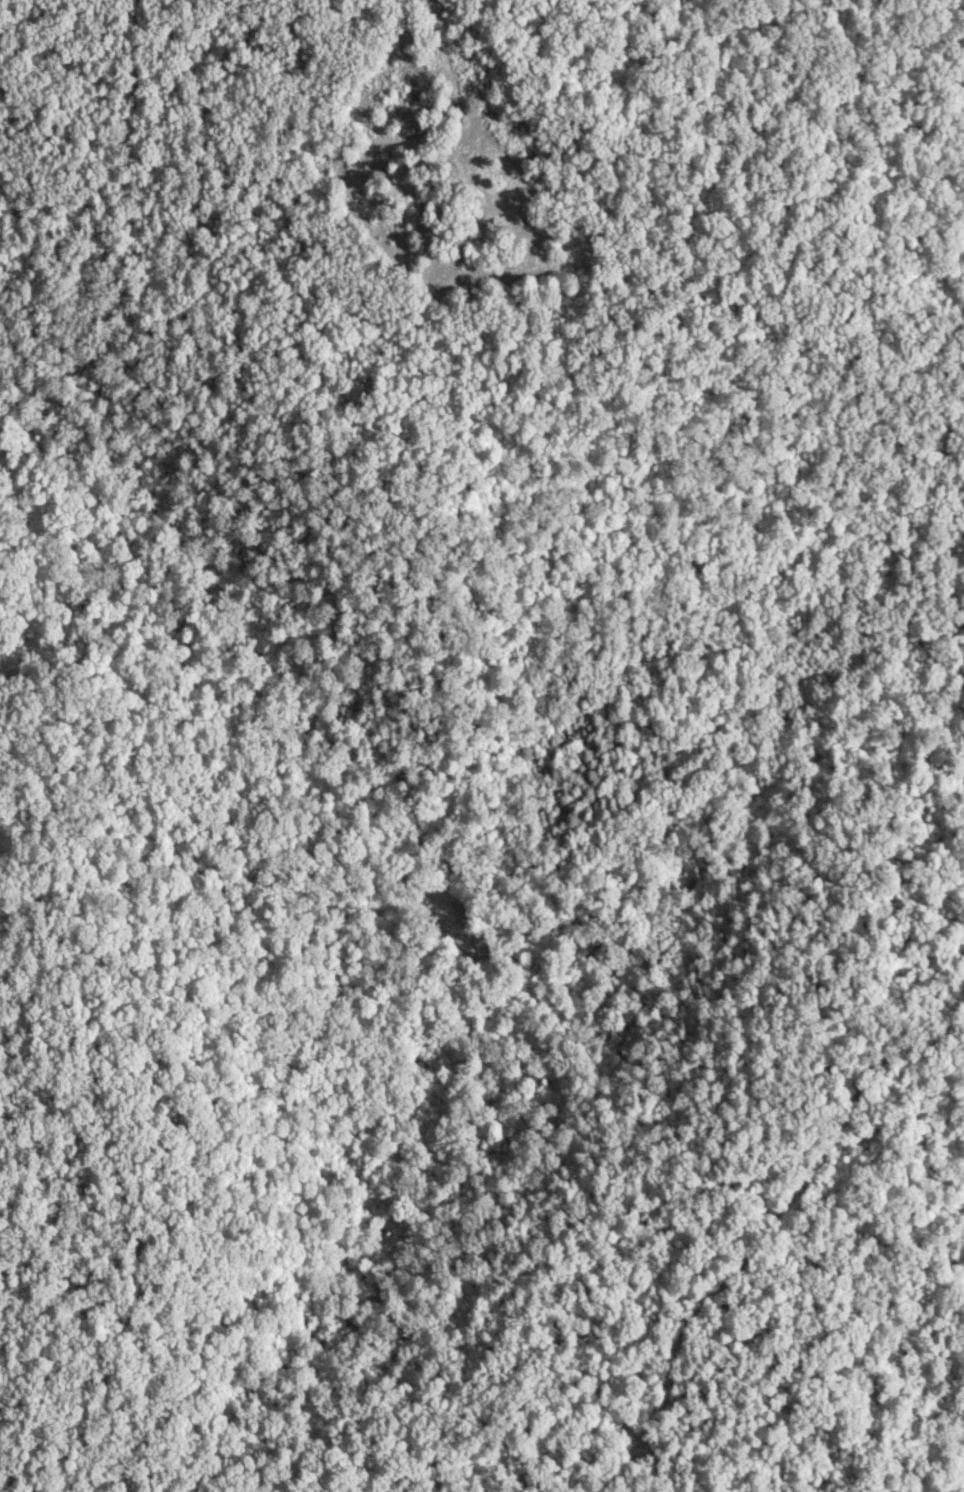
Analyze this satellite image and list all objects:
road: (752, 1238)

